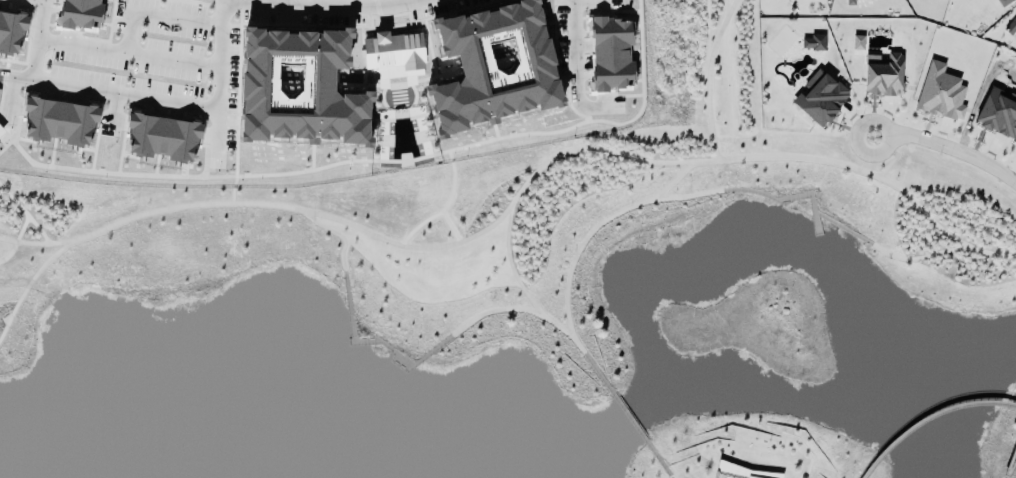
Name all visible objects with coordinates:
road: (35, 0)
building: (1003, 2)
building: (849, 3)
road: (325, 12)
building: (80, 14)
road: (213, 14)
building: (1010, 27)
building: (10, 33)
road: (570, 45)
road: (29, 48)
building: (608, 53)
road: (213, 56)
building: (391, 56)
road: (168, 60)
building: (489, 67)
building: (882, 75)
road: (707, 77)
building: (295, 89)
building: (940, 94)
building: (819, 98)
building: (997, 115)
building: (56, 122)
building: (0, 132)
building: (161, 139)
road: (946, 145)
road: (894, 154)
road: (232, 190)
road: (687, 198)
pier: (769, 198)
road: (505, 207)
road: (919, 209)
road: (619, 211)
road: (437, 215)
pier: (813, 215)
road: (30, 221)
road: (126, 221)
road: (23, 223)
road: (449, 228)
pier: (842, 229)
road: (338, 234)
road: (917, 258)
road: (511, 264)
road: (492, 311)
road: (557, 328)
road: (374, 341)
road: (629, 418)
road: (928, 418)
park: (752, 450)
road: (658, 460)
road: (1010, 460)
road: (1010, 469)
building: (737, 472)

